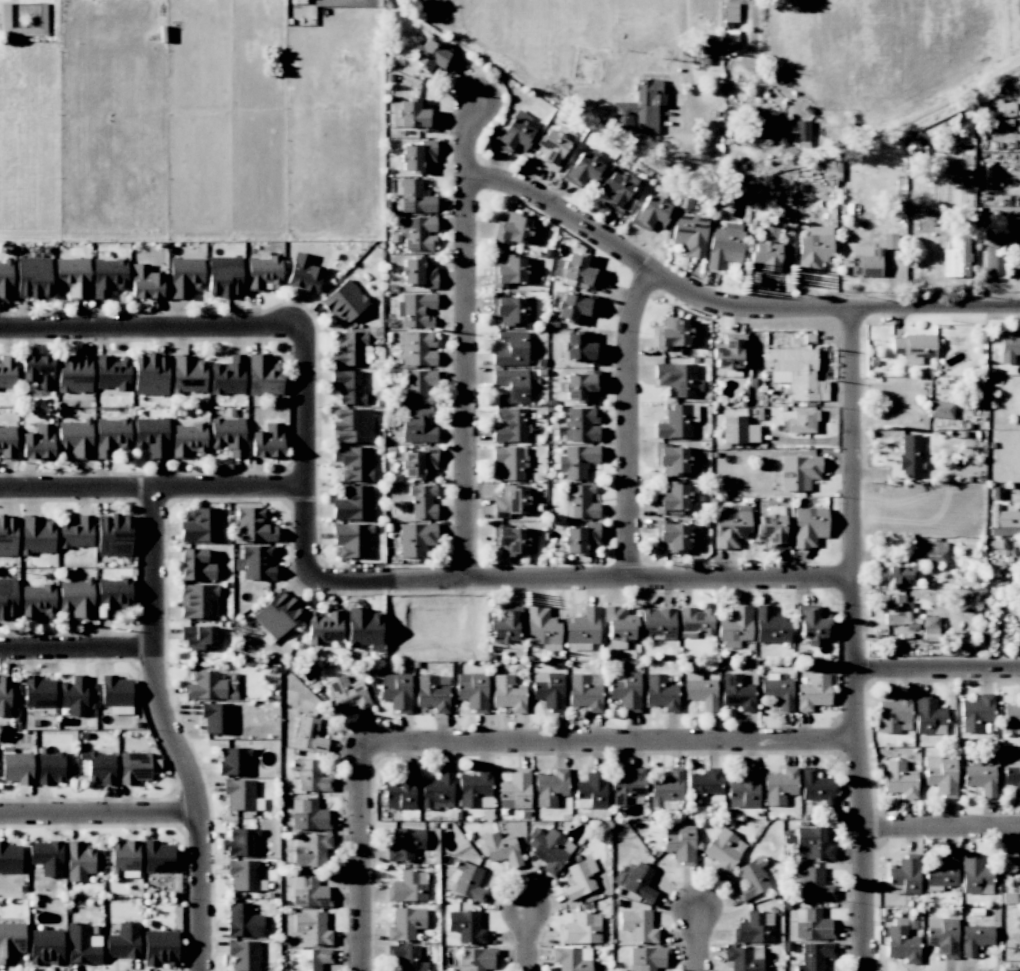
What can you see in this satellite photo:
building: (42, 21)
road: (754, 26)
building: (699, 48)
road: (685, 55)
building: (431, 57)
building: (640, 108)
building: (1002, 108)
building: (410, 114)
building: (777, 128)
building: (513, 133)
building: (551, 147)
building: (416, 155)
building: (582, 170)
building: (618, 192)
building: (415, 197)
building: (649, 213)
building: (516, 230)
building: (417, 233)
building: (689, 234)
building: (889, 241)
building: (724, 245)
building: (814, 248)
building: (957, 256)
building: (864, 260)
building: (993, 261)
building: (511, 270)
building: (578, 270)
building: (263, 271)
building: (417, 272)
building: (302, 273)
building: (108, 276)
building: (184, 276)
building: (224, 276)
building: (71, 277)
building: (32, 278)
building: (5, 279)
building: (145, 282)
building: (343, 302)
road: (729, 304)
building: (572, 306)
building: (416, 309)
building: (513, 309)
road: (152, 329)
building: (672, 333)
road: (468, 339)
building: (1009, 346)
building: (579, 347)
building: (913, 347)
building: (350, 348)
building: (419, 348)
building: (511, 348)
building: (728, 353)
building: (37, 371)
building: (795, 372)
building: (7, 373)
building: (73, 373)
building: (111, 373)
building: (150, 374)
building: (187, 374)
building: (263, 375)
building: (227, 376)
building: (677, 379)
building: (511, 385)
building: (579, 385)
building: (349, 386)
building: (419, 387)
building: (939, 409)
building: (800, 421)
road: (629, 422)
building: (674, 423)
building: (580, 424)
building: (351, 425)
building: (510, 425)
building: (416, 426)
building: (737, 430)
building: (227, 435)
building: (111, 436)
building: (151, 436)
building: (74, 438)
building: (188, 440)
building: (267, 441)
building: (7, 442)
building: (38, 442)
road: (307, 454)
building: (909, 456)
building: (575, 461)
building: (416, 462)
building: (509, 462)
building: (353, 463)
building: (798, 472)
road: (154, 491)
building: (672, 498)
building: (422, 501)
building: (512, 501)
building: (580, 501)
building: (353, 503)
building: (1004, 523)
building: (200, 525)
building: (253, 525)
building: (771, 526)
building: (808, 526)
building: (731, 528)
building: (76, 533)
building: (113, 534)
building: (7, 535)
building: (35, 535)
building: (672, 535)
building: (415, 538)
building: (580, 538)
building: (351, 539)
building: (513, 539)
building: (932, 551)
building: (255, 563)
building: (195, 565)
building: (898, 574)
road: (581, 577)
building: (1017, 591)
building: (111, 595)
building: (7, 598)
building: (76, 598)
building: (36, 601)
building: (198, 601)
building: (277, 614)
building: (696, 622)
building: (657, 624)
building: (735, 624)
building: (504, 626)
building: (770, 626)
building: (809, 626)
building: (324, 627)
building: (618, 627)
building: (364, 628)
building: (542, 628)
building: (582, 629)
building: (198, 637)
road: (853, 638)
road: (78, 644)
road: (937, 667)
building: (205, 686)
building: (548, 690)
building: (625, 690)
building: (700, 690)
building: (395, 691)
building: (472, 691)
building: (585, 691)
building: (777, 691)
building: (38, 692)
building: (432, 692)
building: (660, 692)
building: (737, 692)
building: (813, 692)
building: (347, 693)
building: (507, 693)
building: (116, 694)
building: (4, 695)
building: (74, 695)
building: (975, 713)
building: (894, 714)
building: (928, 715)
building: (216, 717)
building: (1010, 718)
road: (168, 732)
building: (309, 735)
road: (610, 742)
building: (233, 761)
building: (16, 766)
building: (133, 767)
building: (50, 768)
building: (1012, 773)
building: (940, 775)
building: (310, 776)
building: (899, 779)
building: (980, 779)
building: (626, 786)
building: (704, 786)
building: (779, 786)
building: (550, 787)
building: (816, 788)
building: (437, 789)
building: (475, 789)
building: (666, 789)
building: (744, 789)
building: (400, 790)
building: (514, 790)
building: (591, 791)
building: (241, 795)
road: (98, 812)
building: (308, 815)
road: (943, 828)
building: (242, 841)
building: (679, 843)
building: (812, 843)
building: (405, 844)
building: (500, 848)
building: (548, 848)
building: (311, 850)
building: (723, 850)
building: (46, 857)
building: (157, 857)
road: (364, 857)
building: (9, 858)
building: (124, 858)
building: (78, 861)
building: (942, 872)
building: (905, 873)
building: (243, 874)
building: (974, 875)
building: (579, 878)
building: (750, 878)
building: (467, 881)
building: (636, 881)
building: (813, 883)
building: (408, 886)
building: (308, 892)
building: (243, 920)
building: (405, 923)
building: (637, 925)
building: (813, 925)
building: (465, 926)
building: (311, 927)
building: (581, 928)
building: (754, 928)
road: (526, 937)
building: (974, 938)
road: (697, 939)
building: (10, 941)
building: (123, 941)
building: (901, 944)
building: (82, 945)
building: (45, 946)
building: (160, 947)
building: (243, 955)
building: (814, 956)
building: (406, 957)
building: (312, 958)
building: (571, 958)
building: (647, 958)
building: (744, 958)
building: (475, 959)

